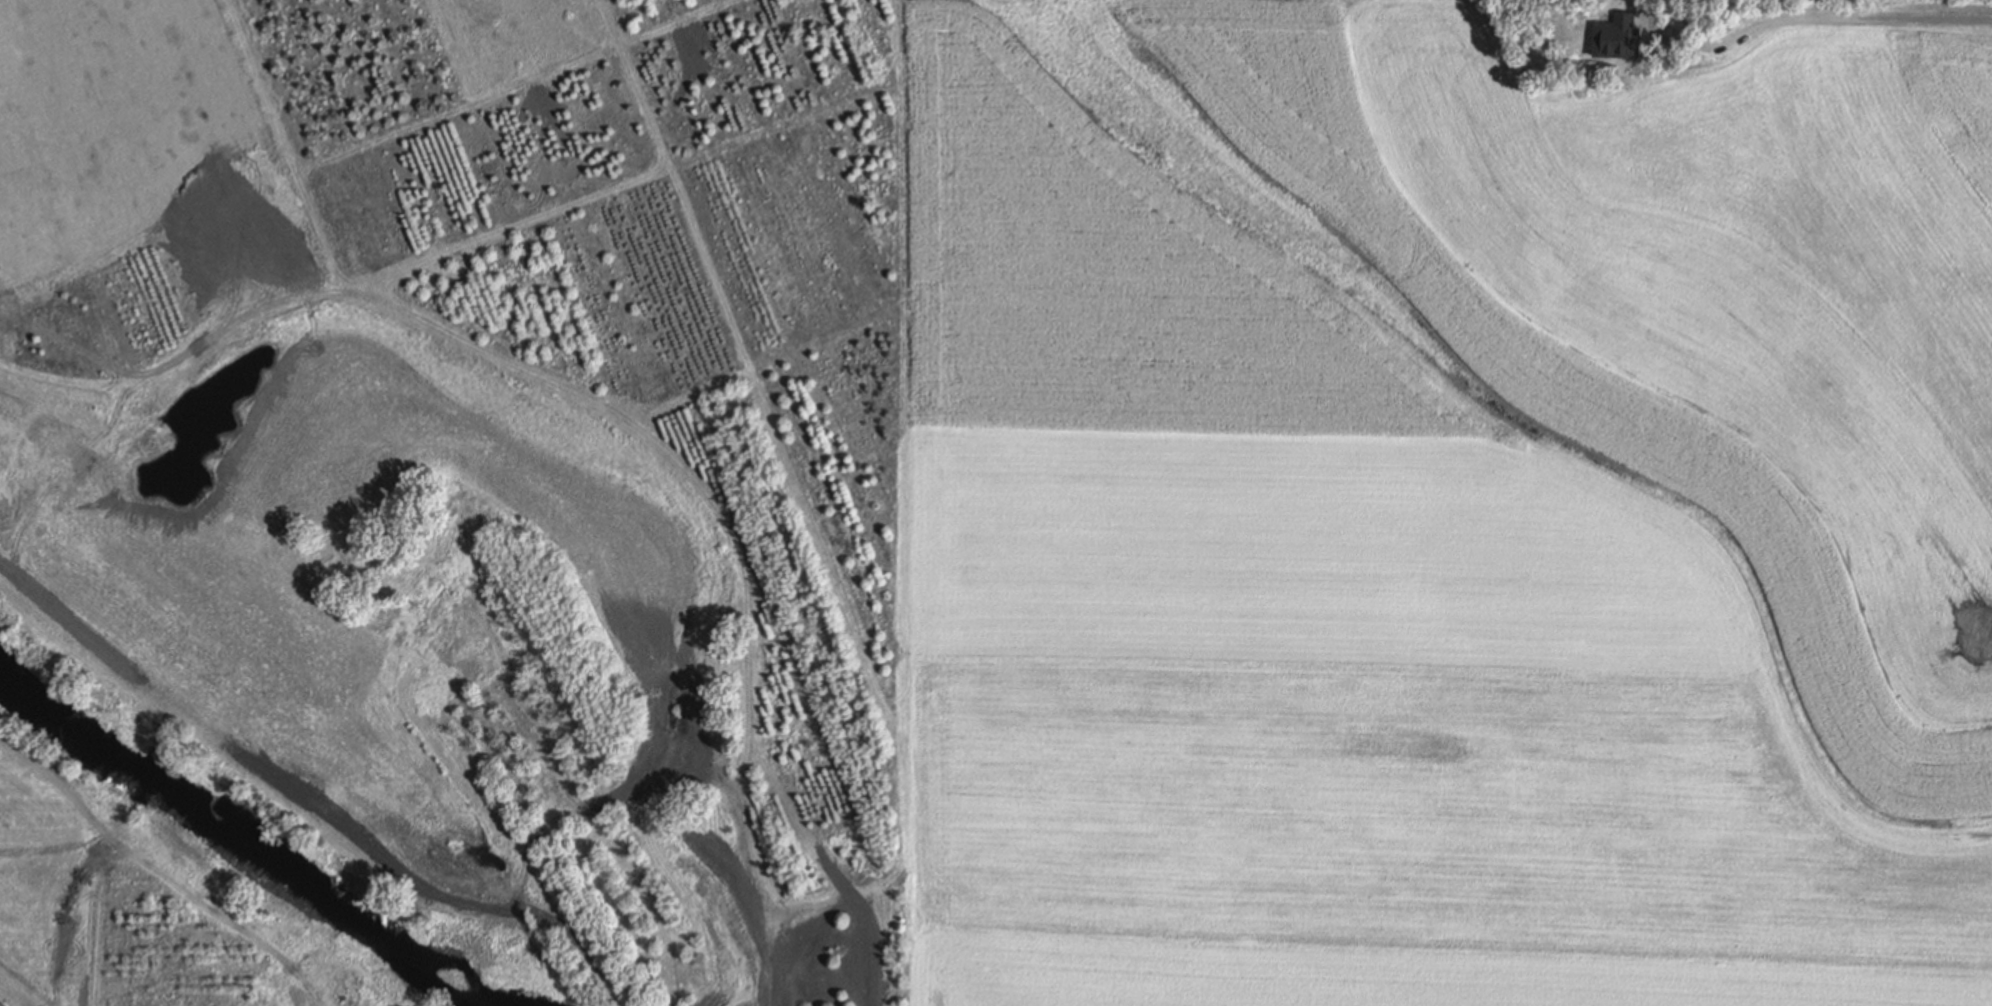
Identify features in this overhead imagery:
road: (607, 23)
road: (561, 68)
road: (257, 88)
road: (660, 173)
road: (195, 219)
road: (314, 243)
road: (708, 271)
road: (900, 274)
road: (608, 408)
road: (645, 423)
road: (899, 505)
crop: (1450, 512)
road: (888, 710)
road: (1684, 771)
road: (1825, 806)
river: (246, 844)
road: (144, 864)
road: (91, 918)
road: (303, 991)
road: (312, 992)
road: (10, 996)
building: (1, 1003)

